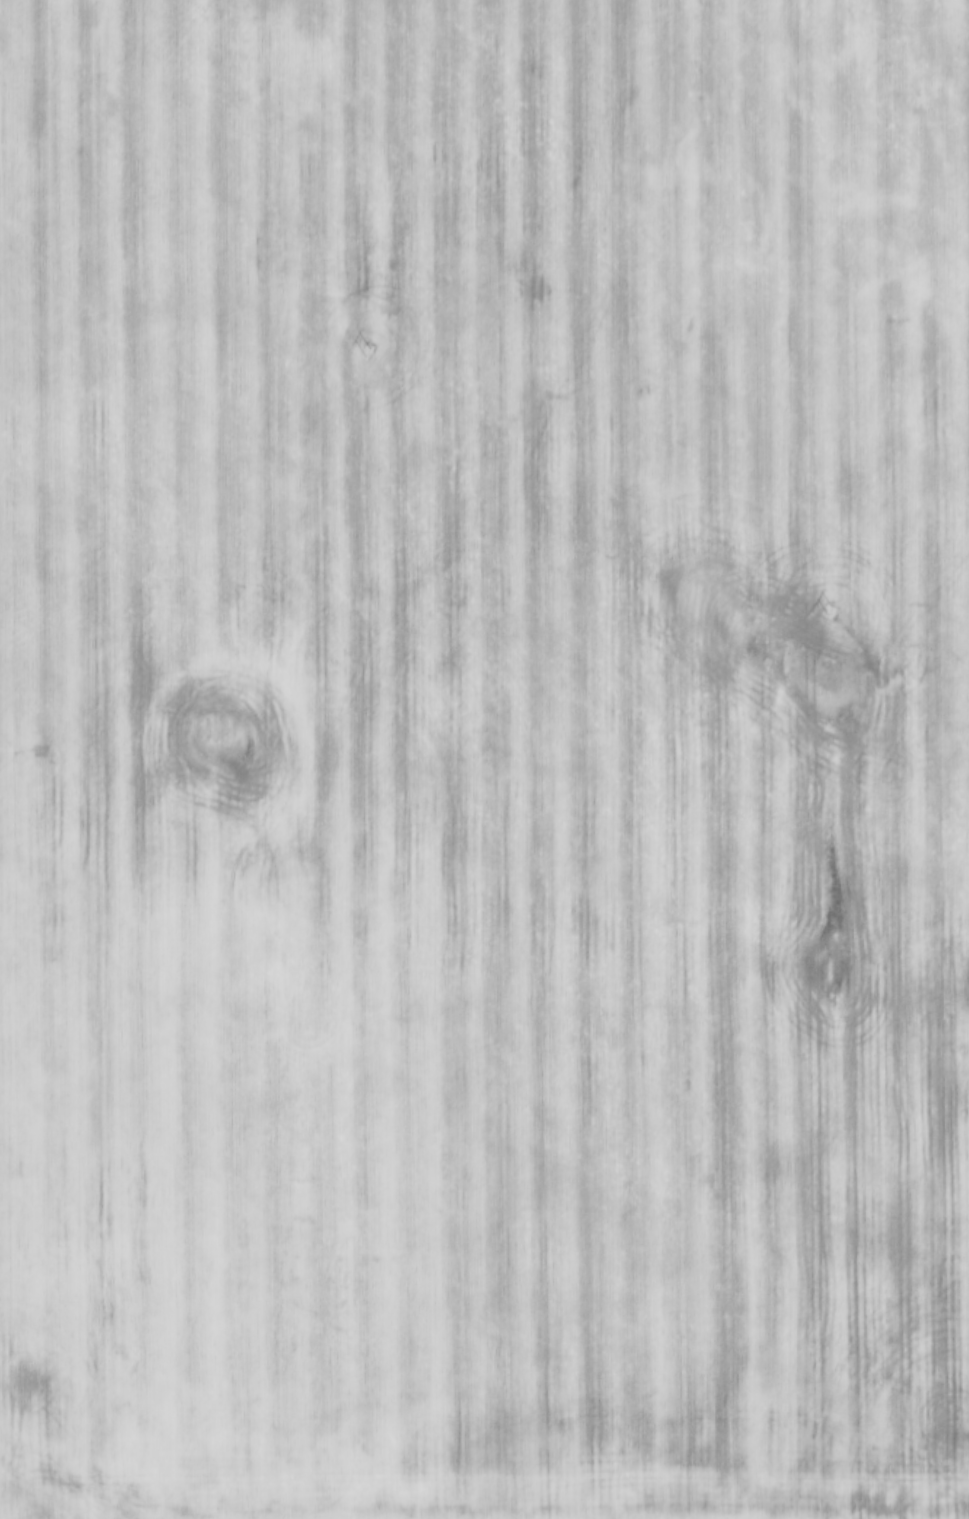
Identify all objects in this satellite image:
power tower: (367, 350)
power tower: (828, 609)

